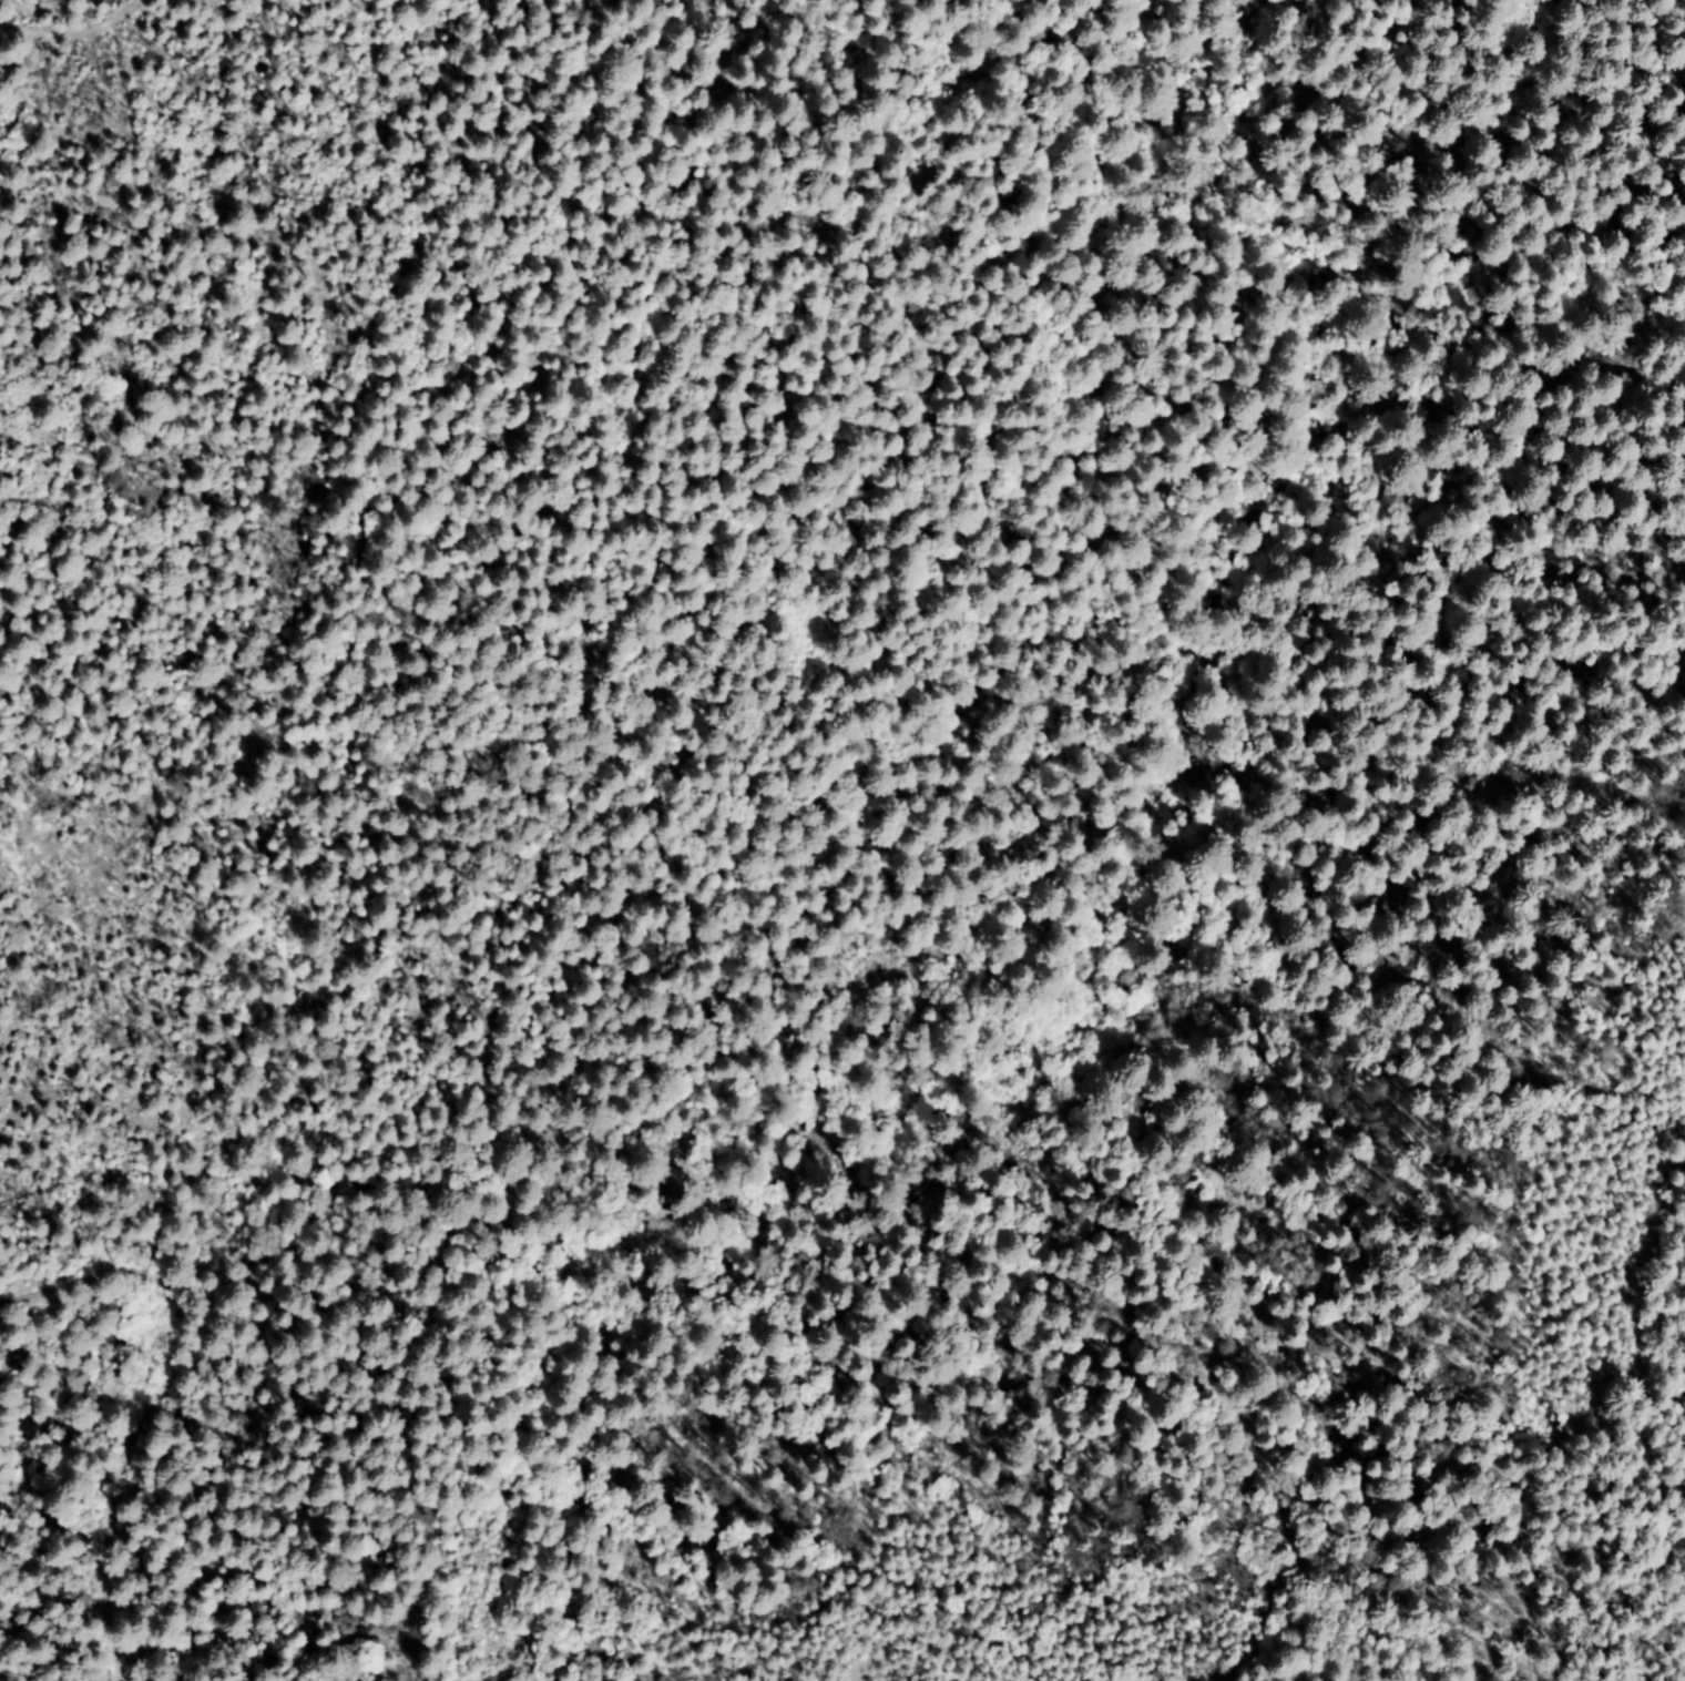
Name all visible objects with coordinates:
road: (803, 19)
road: (65, 23)
road: (113, 1219)
road: (177, 1449)

